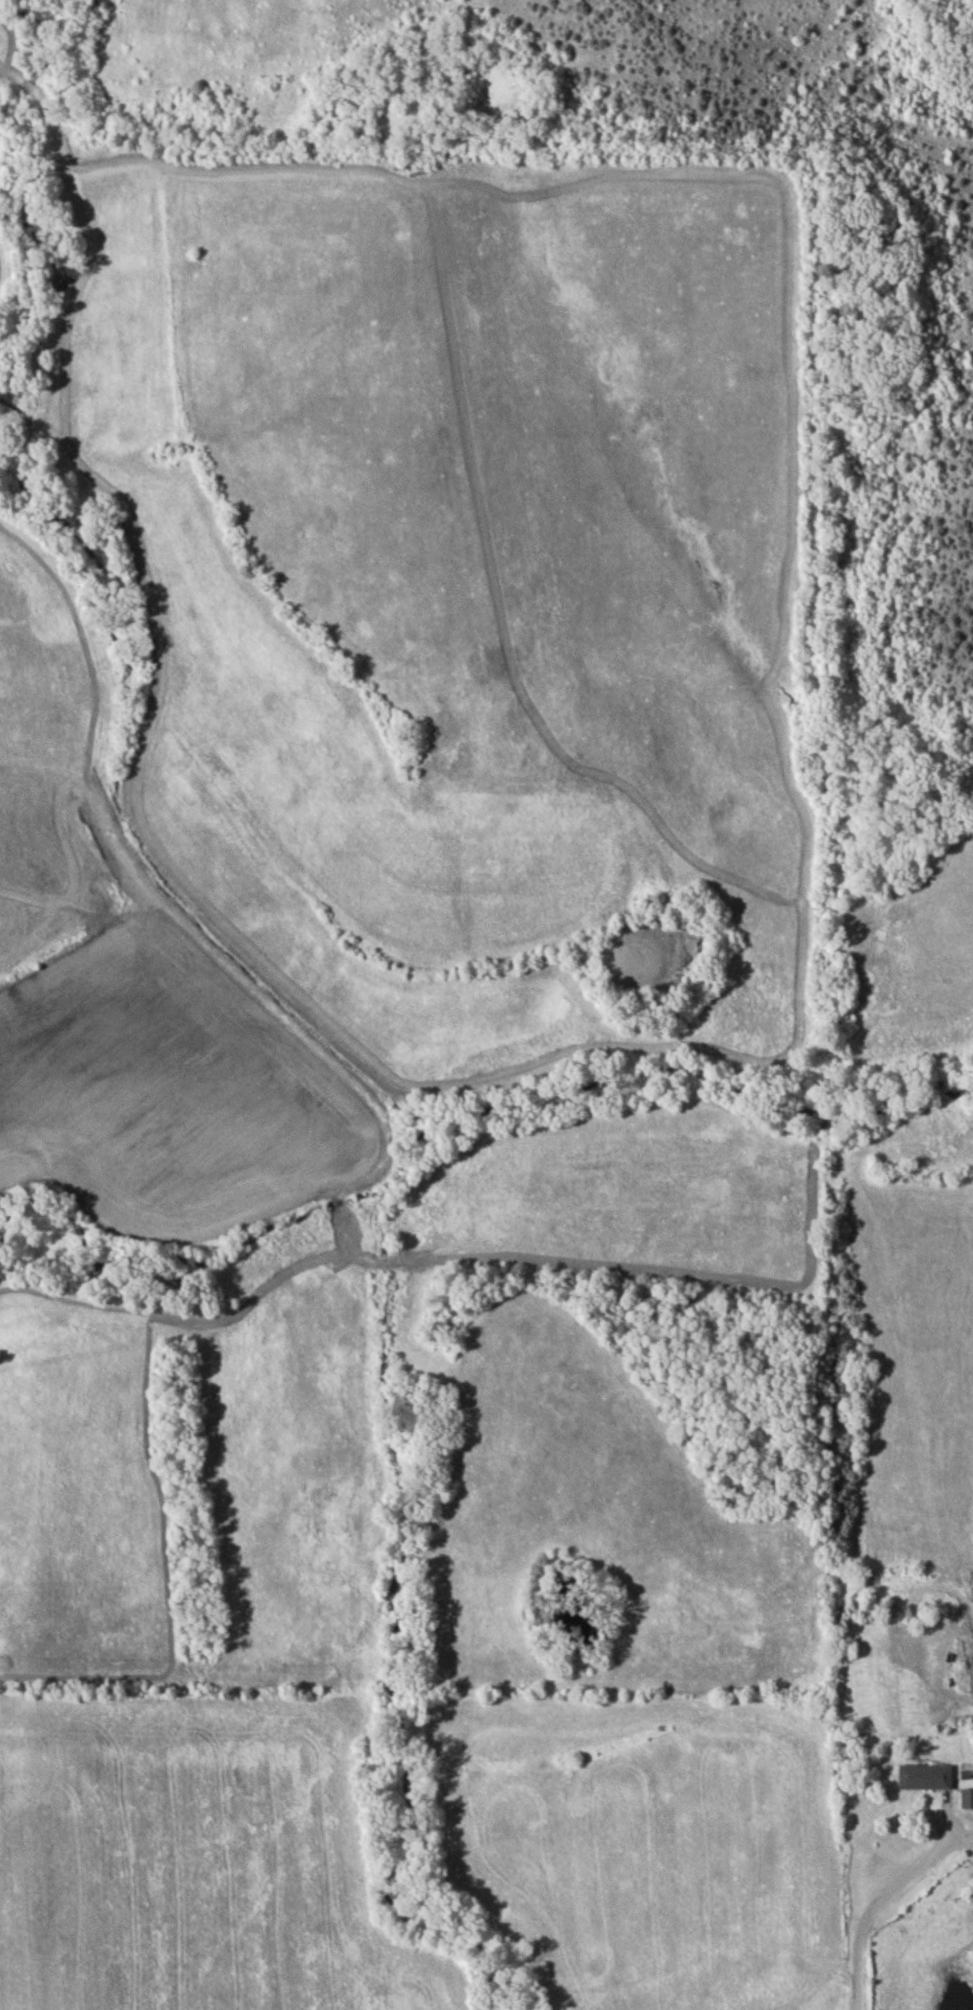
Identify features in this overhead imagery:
building: (948, 1648)
building: (927, 1777)
building: (968, 1798)
road: (880, 1906)

